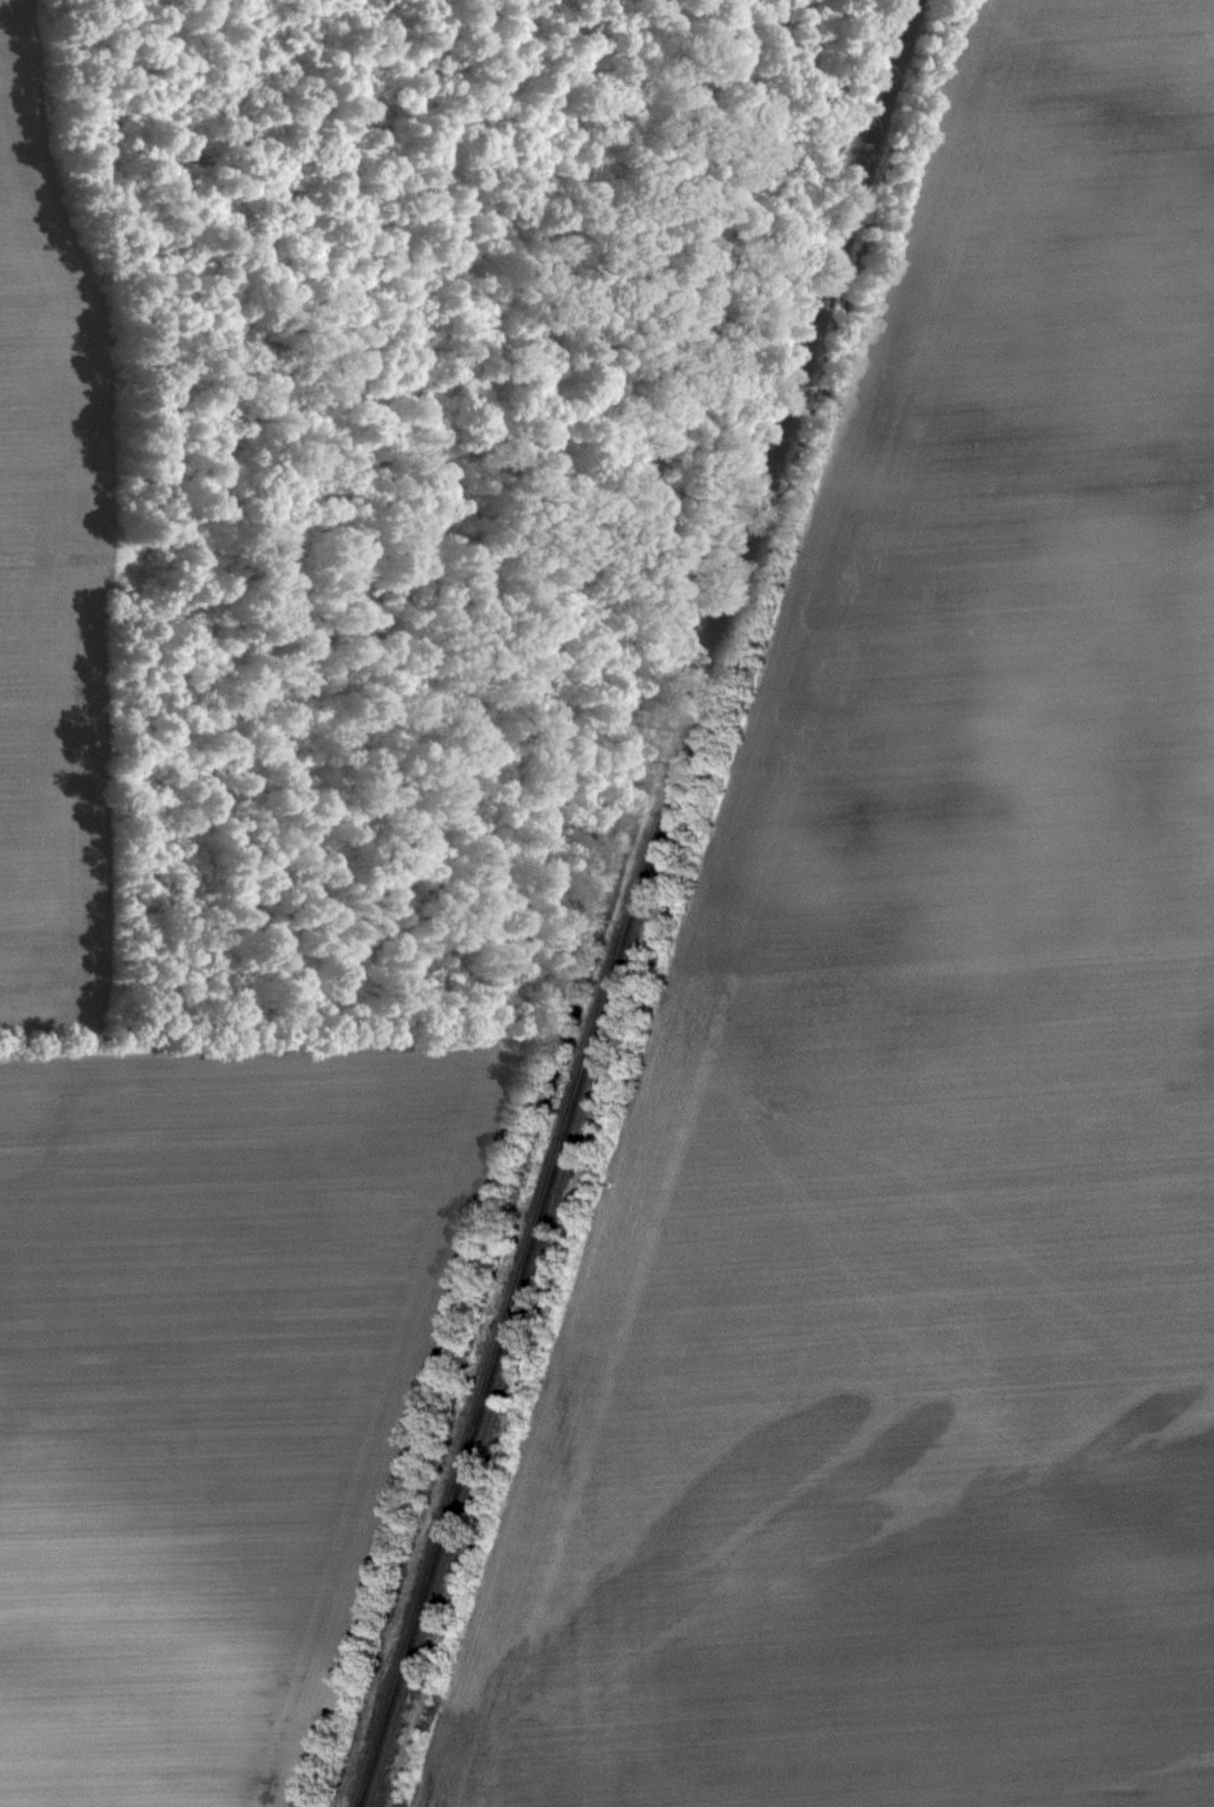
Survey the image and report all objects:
railway: (635, 903)

